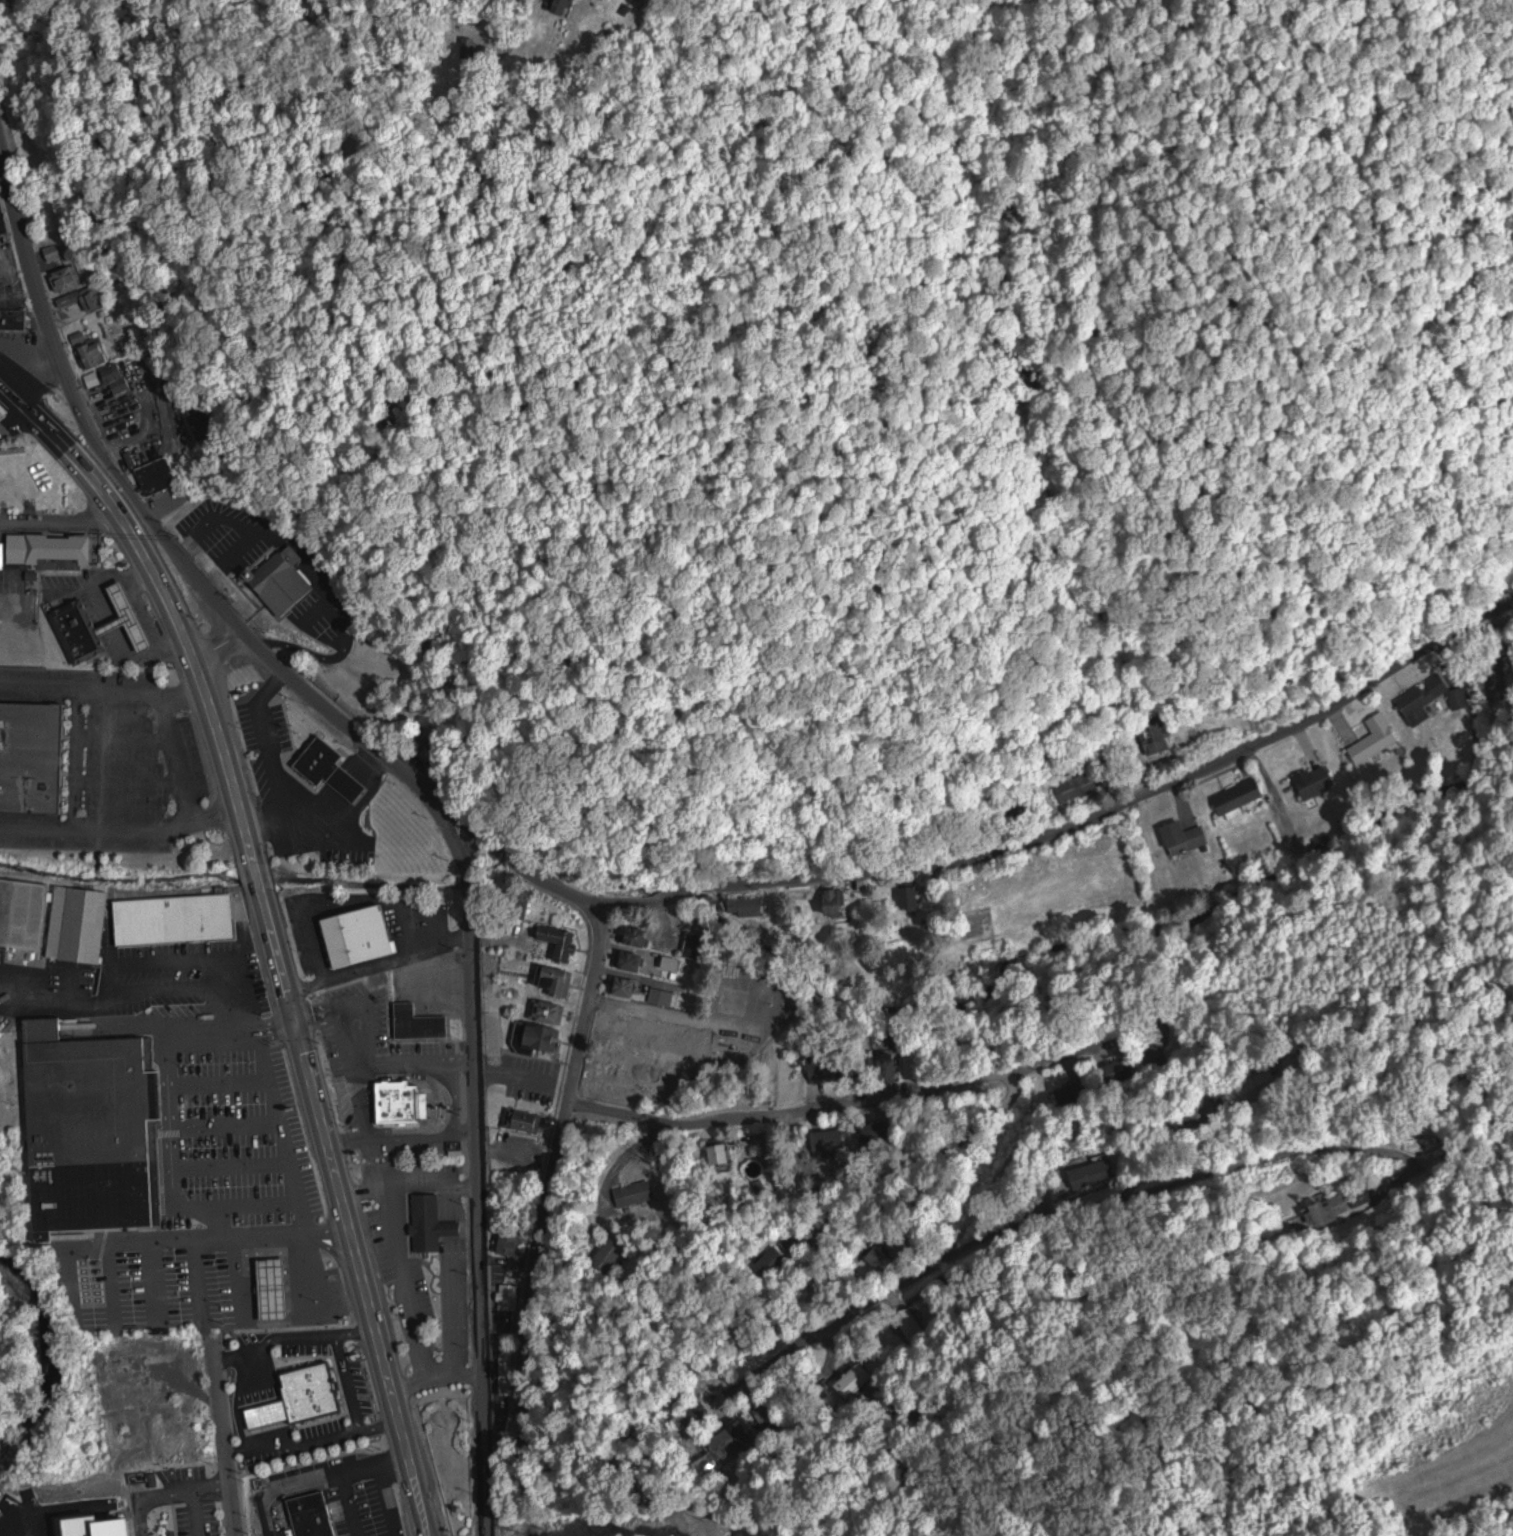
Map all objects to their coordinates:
building: (643, 2)
building: (564, 6)
road: (432, 66)
building: (57, 252)
building: (70, 278)
building: (88, 298)
building: (15, 315)
building: (96, 353)
building: (118, 377)
building: (128, 420)
building: (158, 479)
road: (63, 525)
road: (168, 545)
building: (62, 548)
parking lot: (13, 570)
building: (283, 587)
road: (172, 606)
building: (105, 618)
gas station: (105, 618)
road: (223, 649)
building: (1415, 703)
building: (1162, 733)
road: (1310, 737)
building: (1371, 739)
building: (32, 753)
parking lot: (102, 760)
road: (1258, 765)
building: (330, 771)
building: (1309, 780)
building: (1080, 786)
road: (1184, 793)
building: (1234, 797)
road: (1122, 806)
building: (1180, 837)
road: (456, 838)
road: (495, 851)
road: (469, 880)
road: (262, 881)
road: (550, 884)
road: (673, 896)
building: (912, 898)
building: (836, 901)
building: (25, 907)
road: (627, 909)
road: (473, 914)
building: (83, 916)
building: (179, 918)
building: (360, 935)
building: (640, 935)
building: (562, 940)
building: (697, 945)
building: (634, 960)
road: (383, 967)
road: (634, 973)
building: (557, 979)
building: (626, 985)
building: (664, 996)
building: (550, 1011)
road: (678, 1013)
road: (322, 1018)
road: (371, 1021)
building: (421, 1022)
traffic signals: (300, 1025)
road: (236, 1031)
building: (540, 1038)
building: (671, 1051)
building: (888, 1055)
road: (417, 1062)
building: (830, 1064)
building: (401, 1099)
road: (801, 1112)
building: (527, 1120)
building: (99, 1127)
park: (13, 1136)
road: (389, 1136)
building: (831, 1138)
road: (632, 1151)
building: (722, 1153)
building: (639, 1194)
road: (1047, 1198)
road: (347, 1211)
building: (434, 1221)
road: (547, 1221)
road: (838, 1222)
road: (482, 1237)
building: (517, 1246)
building: (611, 1254)
building: (774, 1261)
building: (279, 1277)
gas station: (279, 1277)
road: (311, 1335)
road: (237, 1358)
river: (50, 1360)
road: (264, 1374)
road: (351, 1383)
building: (306, 1386)
road: (271, 1403)
road: (277, 1427)
road: (225, 1436)
road: (341, 1438)
road: (253, 1447)
road: (198, 1496)
road: (158, 1499)
building: (318, 1503)
parking lot: (200, 1518)

